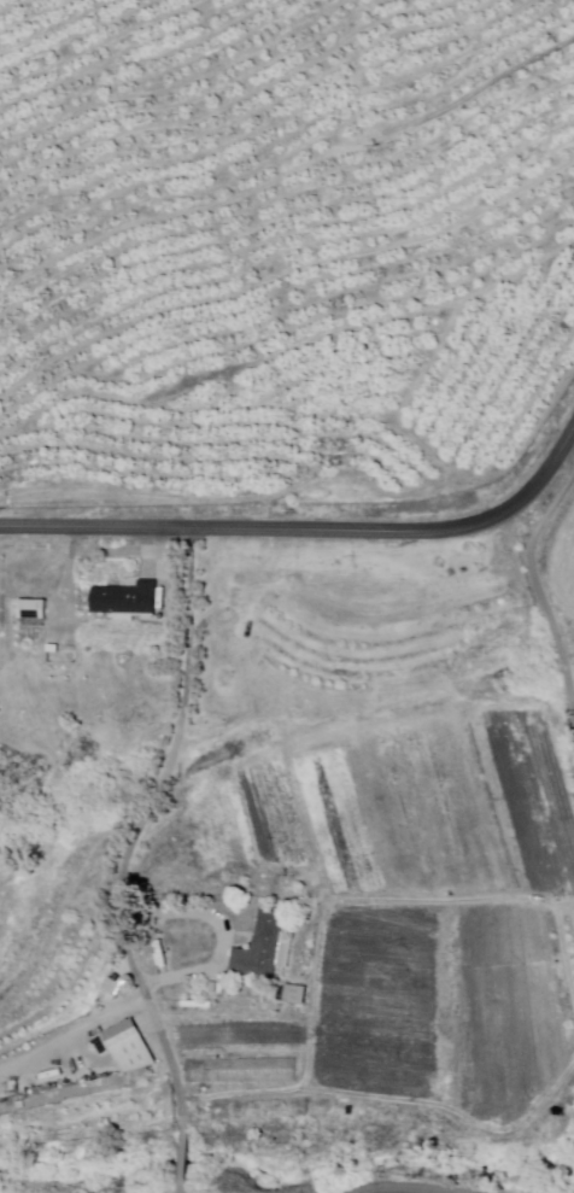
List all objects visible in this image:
road: (310, 530)
crop: (566, 567)
building: (363, 569)
building: (321, 577)
road: (540, 587)
building: (127, 601)
building: (31, 608)
crop: (392, 634)
building: (52, 648)
crop: (404, 808)
road: (141, 830)
building: (262, 949)
crop: (51, 952)
building: (113, 989)
building: (295, 996)
crop: (380, 1004)
crop: (508, 1012)
building: (130, 1047)
crop: (246, 1051)
building: (263, 1110)
crop: (86, 1116)
road: (186, 1154)

